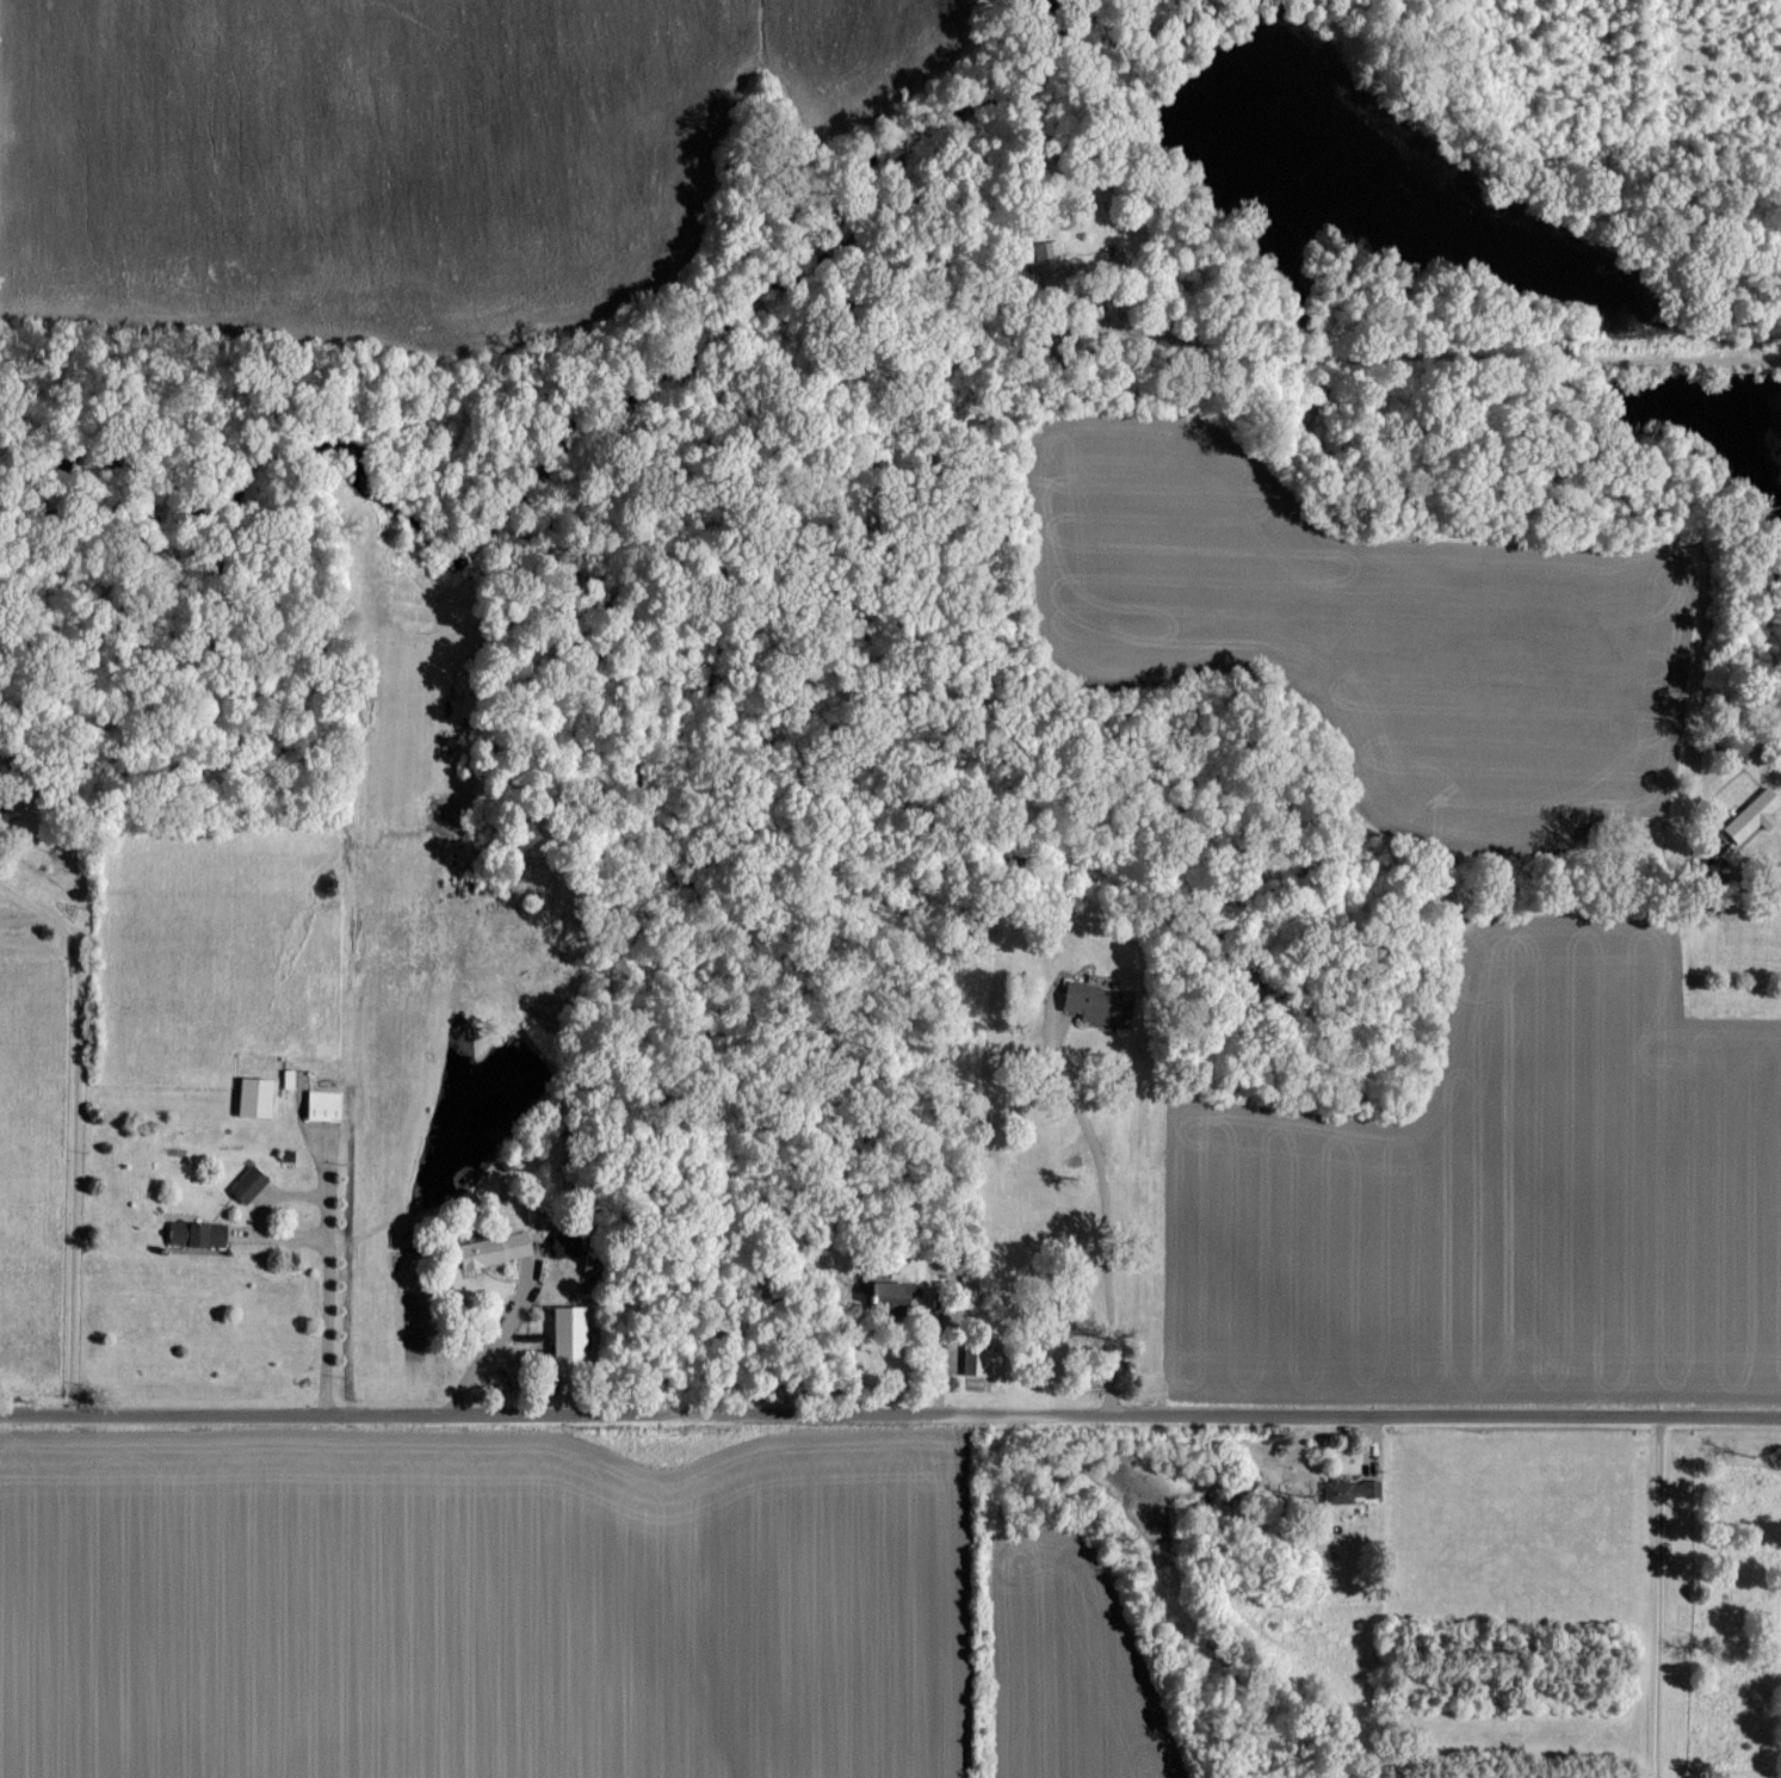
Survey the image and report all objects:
road: (1207, 443)
road: (1686, 518)
building: (1750, 814)
road: (1750, 864)
building: (1101, 1001)
building: (291, 1076)
building: (259, 1095)
building: (328, 1103)
road: (76, 1138)
building: (252, 1181)
road: (1105, 1226)
road: (328, 1230)
building: (200, 1233)
building: (497, 1247)
building: (895, 1292)
building: (569, 1333)
building: (982, 1362)
road: (1342, 1419)
road: (451, 1431)
building: (1344, 1489)
road: (1655, 1594)

